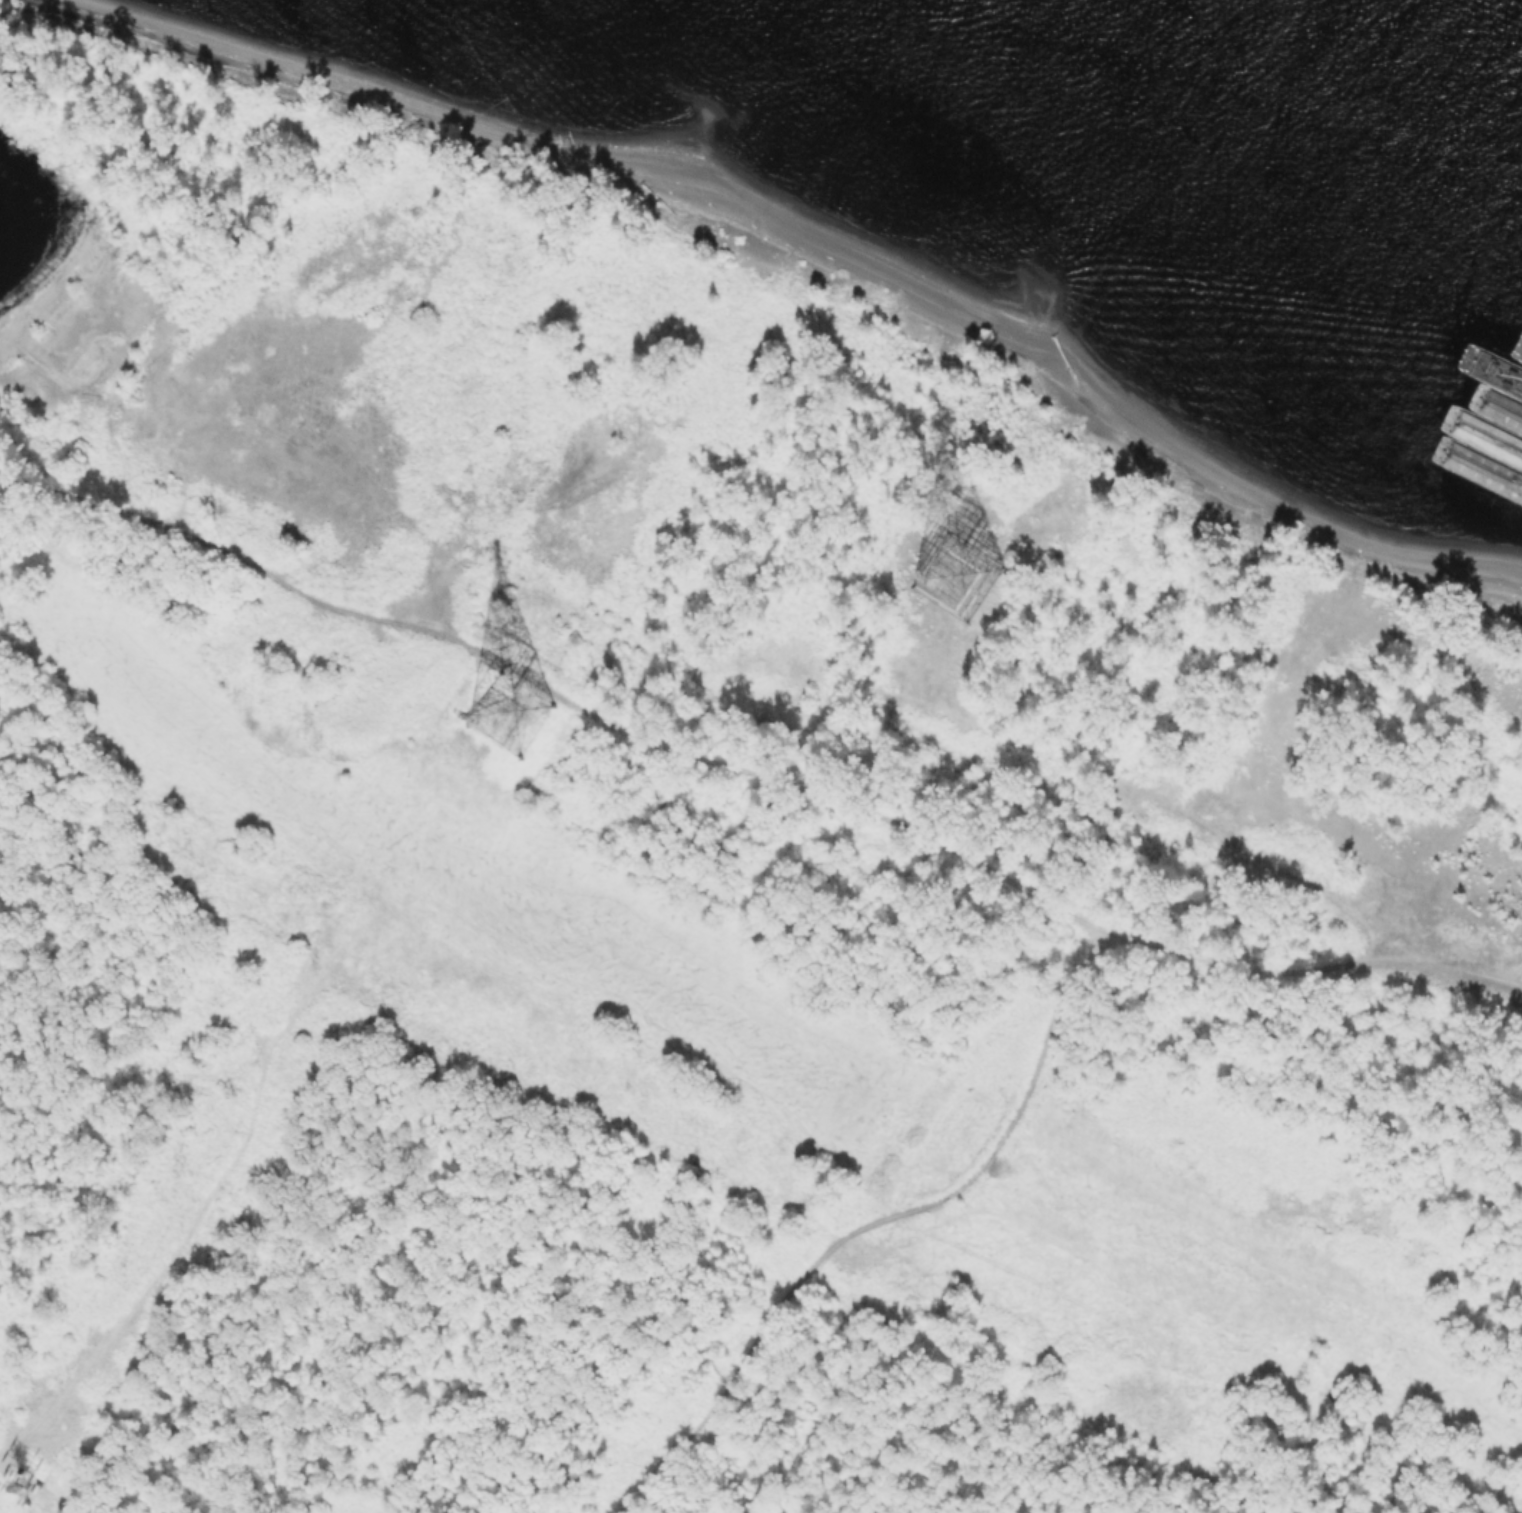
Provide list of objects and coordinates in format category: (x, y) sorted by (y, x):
power tower: (954, 582)
power tower: (505, 721)
road: (749, 777)
road: (876, 1225)
power tower: (20, 1490)

